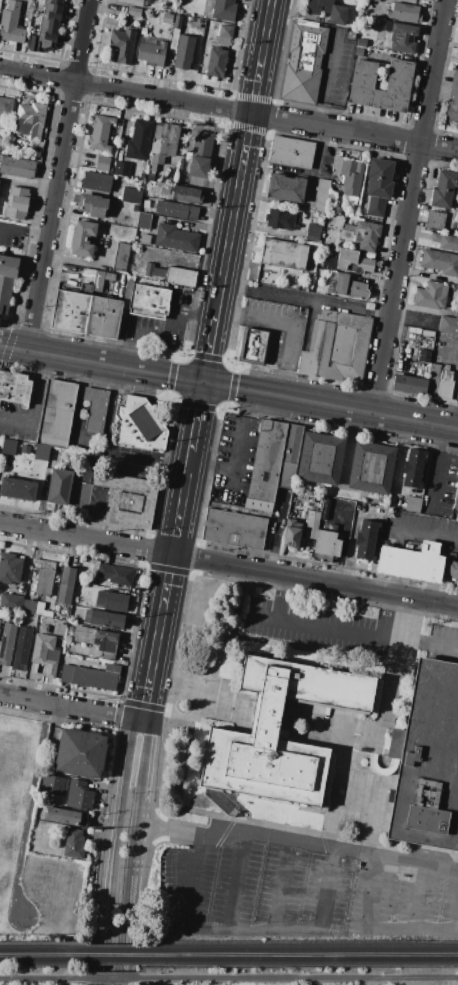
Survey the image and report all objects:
building: (374, 0)
building: (423, 0)
building: (130, 2)
building: (223, 10)
building: (327, 10)
building: (133, 12)
building: (404, 13)
building: (166, 18)
building: (176, 22)
building: (11, 23)
building: (209, 26)
building: (47, 27)
building: (143, 31)
building: (224, 35)
building: (350, 35)
building: (403, 38)
building: (173, 39)
building: (361, 43)
building: (122, 45)
building: (151, 51)
building: (183, 52)
building: (358, 52)
building: (303, 61)
building: (216, 62)
building: (362, 76)
road: (328, 78)
building: (453, 90)
building: (6, 107)
road: (228, 109)
building: (452, 114)
building: (30, 120)
building: (100, 133)
building: (139, 140)
building: (162, 145)
building: (291, 153)
building: (35, 154)
building: (200, 154)
road: (245, 155)
building: (83, 164)
building: (102, 164)
building: (89, 165)
building: (338, 165)
building: (16, 167)
building: (121, 169)
road: (57, 175)
building: (141, 176)
building: (149, 177)
building: (351, 177)
building: (96, 182)
building: (378, 185)
building: (284, 188)
building: (444, 189)
building: (130, 195)
building: (186, 195)
building: (314, 195)
building: (352, 199)
building: (17, 203)
building: (91, 205)
road: (408, 206)
building: (176, 210)
building: (337, 210)
building: (280, 220)
building: (143, 221)
building: (435, 221)
road: (23, 228)
building: (313, 233)
building: (347, 233)
building: (366, 236)
building: (83, 238)
building: (175, 238)
building: (144, 239)
building: (446, 242)
building: (283, 255)
building: (120, 257)
building: (346, 260)
building: (440, 262)
building: (364, 265)
building: (148, 270)
building: (158, 271)
building: (109, 277)
building: (180, 277)
building: (6, 280)
building: (90, 281)
building: (350, 287)
building: (431, 296)
road: (305, 299)
building: (148, 301)
building: (70, 311)
road: (216, 313)
building: (103, 317)
road: (292, 322)
building: (449, 325)
road: (160, 332)
road: (449, 340)
road: (9, 345)
building: (252, 346)
building: (336, 347)
road: (209, 348)
building: (423, 356)
road: (101, 363)
building: (432, 379)
traffic signals: (203, 381)
building: (444, 382)
building: (408, 385)
road: (225, 386)
building: (14, 388)
road: (266, 393)
building: (457, 396)
road: (36, 407)
building: (94, 407)
road: (218, 409)
road: (370, 412)
building: (56, 414)
building: (139, 425)
building: (291, 444)
building: (8, 446)
building: (42, 452)
road: (235, 453)
building: (319, 458)
building: (266, 461)
building: (89, 463)
road: (129, 463)
building: (371, 468)
road: (435, 468)
building: (413, 469)
building: (286, 474)
building: (59, 487)
building: (17, 489)
building: (455, 496)
building: (127, 499)
building: (259, 503)
building: (418, 505)
road: (93, 515)
building: (310, 528)
building: (234, 529)
road: (422, 532)
building: (291, 533)
building: (365, 540)
building: (326, 546)
road: (343, 546)
road: (172, 551)
building: (412, 562)
road: (228, 564)
building: (9, 568)
road: (167, 570)
building: (452, 570)
building: (115, 575)
building: (43, 576)
building: (66, 586)
building: (111, 601)
building: (10, 602)
building: (28, 607)
building: (42, 610)
building: (61, 617)
building: (103, 619)
building: (0, 622)
building: (63, 625)
building: (43, 629)
building: (69, 629)
road: (327, 630)
building: (63, 633)
building: (84, 635)
building: (105, 641)
building: (6, 643)
road: (438, 646)
building: (21, 649)
building: (45, 653)
building: (33, 668)
building: (91, 677)
road: (72, 708)
building: (262, 732)
building: (281, 734)
building: (79, 753)
building: (427, 761)
road: (122, 784)
building: (52, 785)
road: (357, 786)
building: (79, 796)
building: (66, 817)
building: (73, 844)
road: (352, 851)
road: (138, 852)
road: (416, 863)
building: (394, 870)
building: (411, 870)
building: (404, 878)
parking lot: (303, 883)
road: (234, 889)
road: (279, 889)
road: (109, 892)
road: (418, 897)
road: (457, 919)
road: (250, 929)
railway: (297, 951)
railway: (43, 952)
railway: (112, 952)
road: (103, 959)
railway: (298, 960)
railway: (43, 961)
railway: (112, 961)
road: (41, 978)
park: (42, 978)
road: (109, 978)
park: (293, 978)
road: (296, 978)

